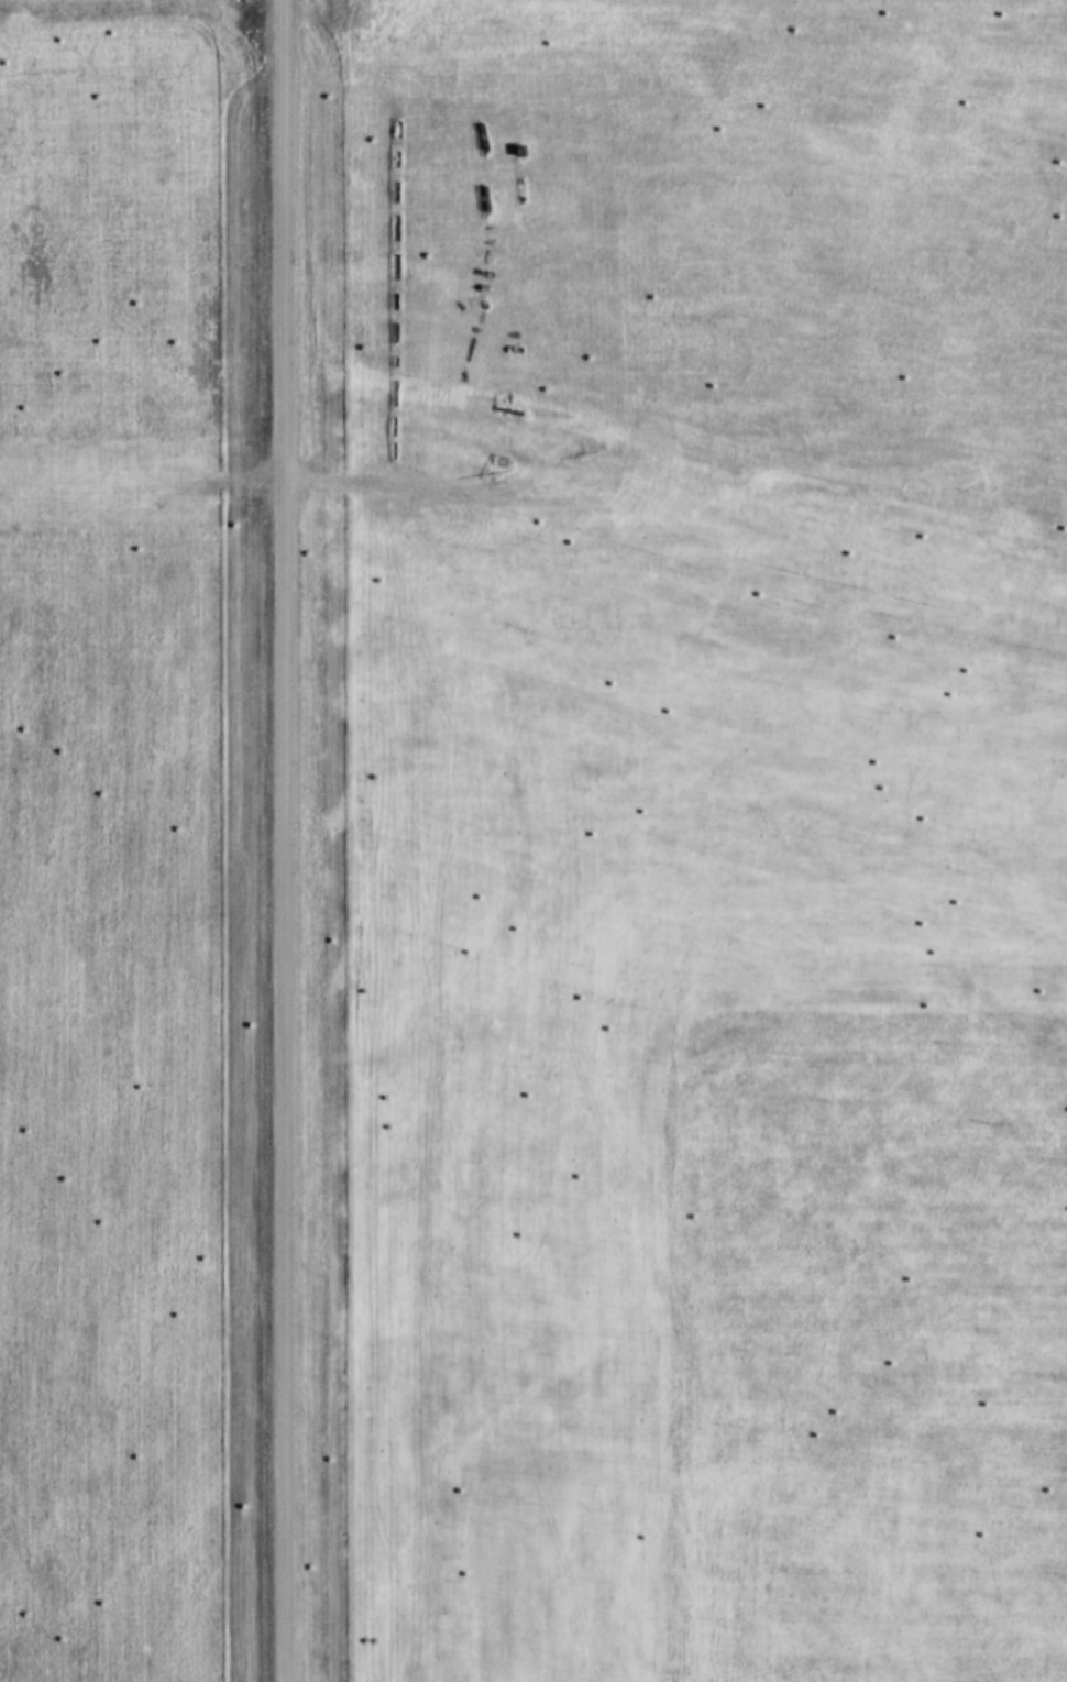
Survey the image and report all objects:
quarry: (473, 760)

